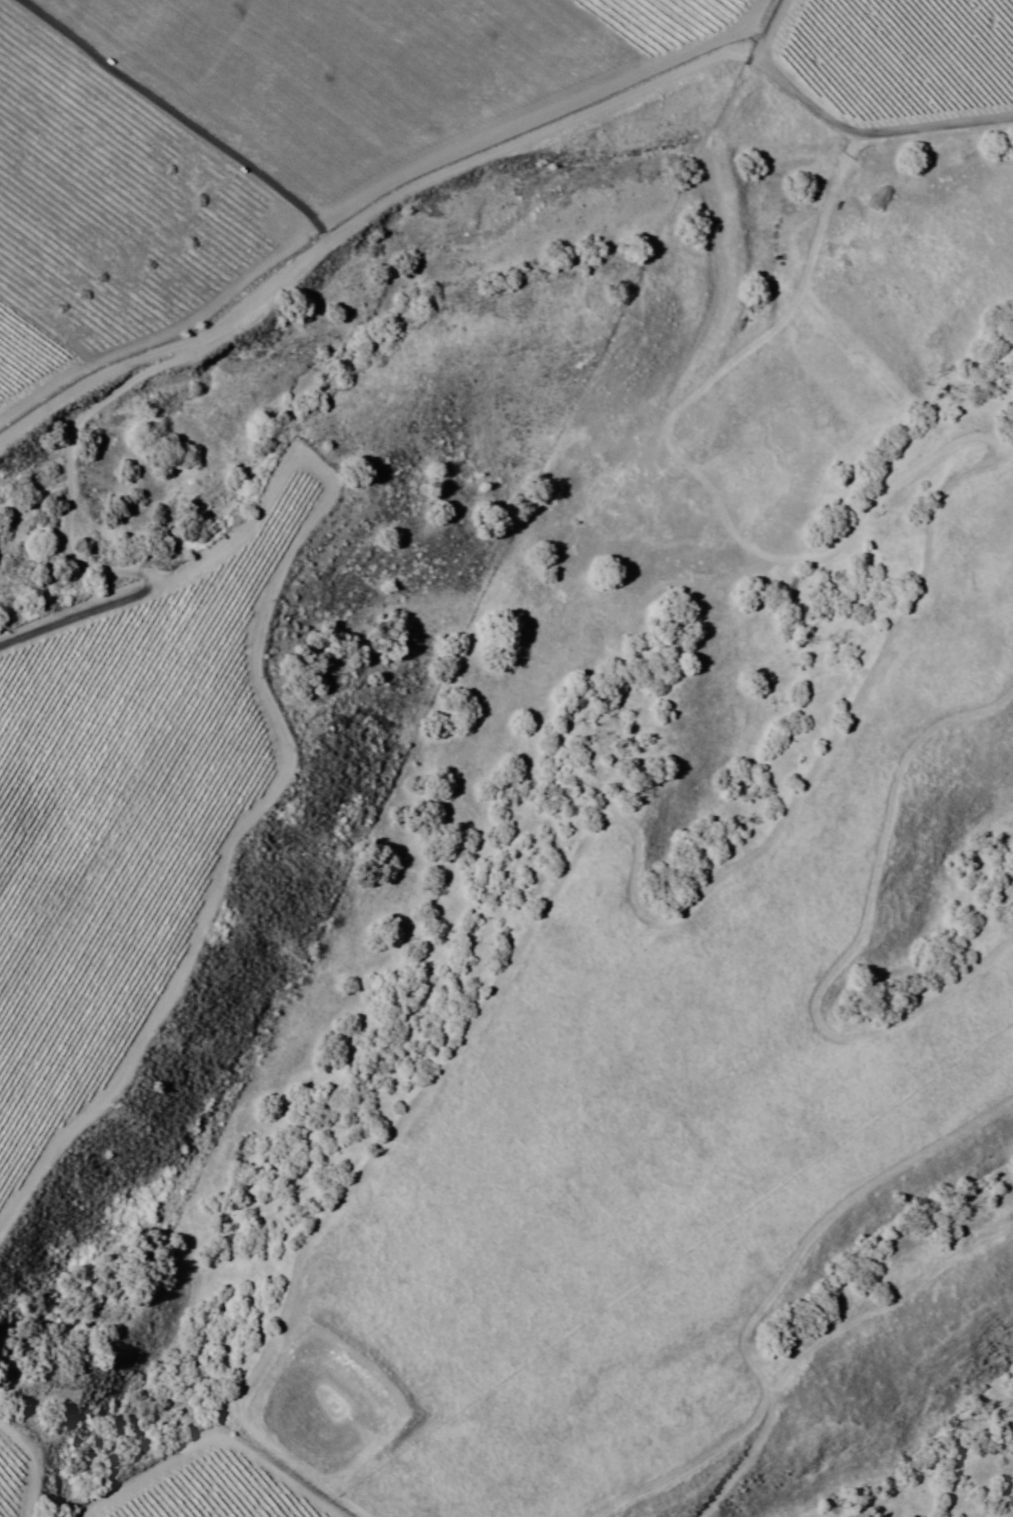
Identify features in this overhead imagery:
crop: (346, 121)
road: (493, 149)
crop: (128, 784)
crop: (195, 1479)

